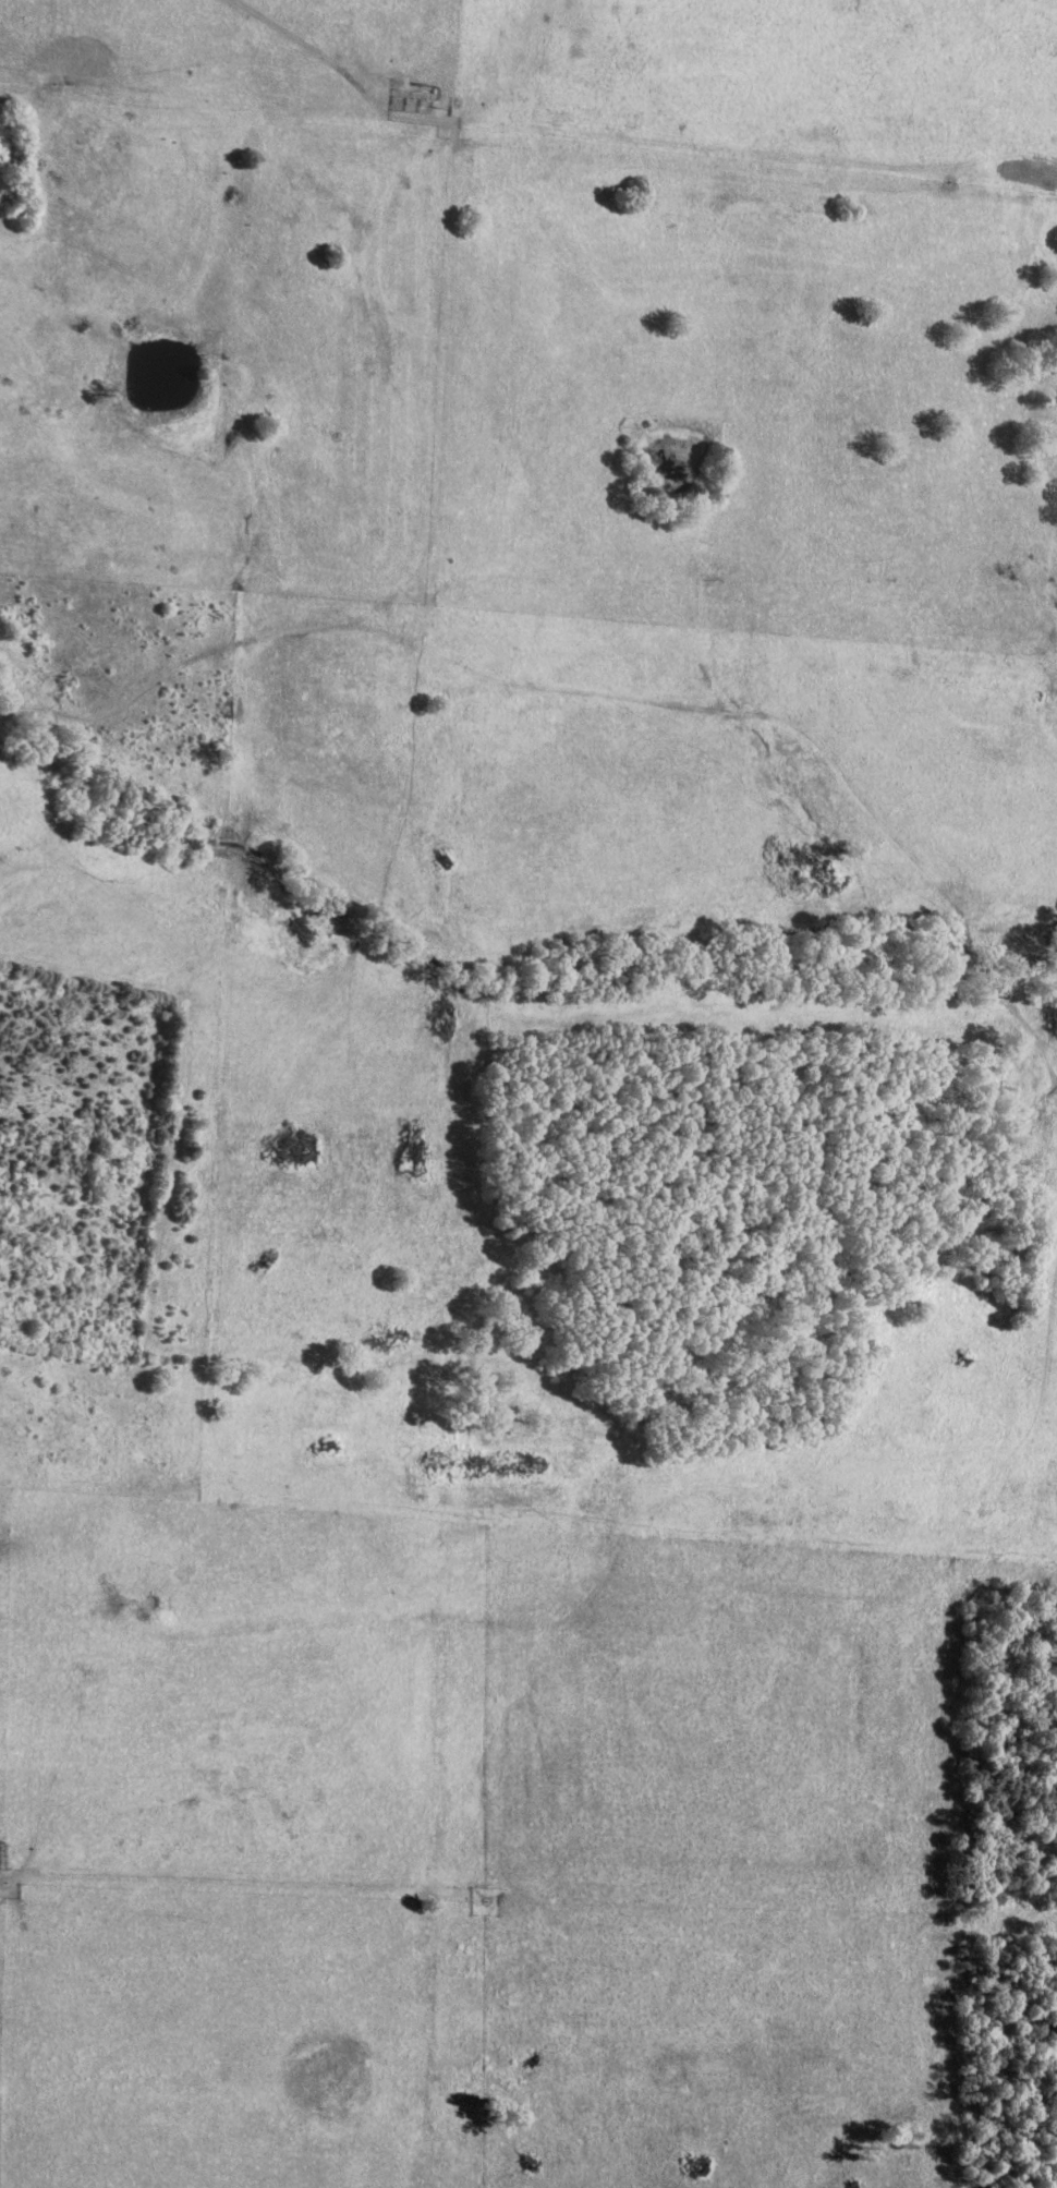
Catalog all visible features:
road: (126, 80)

